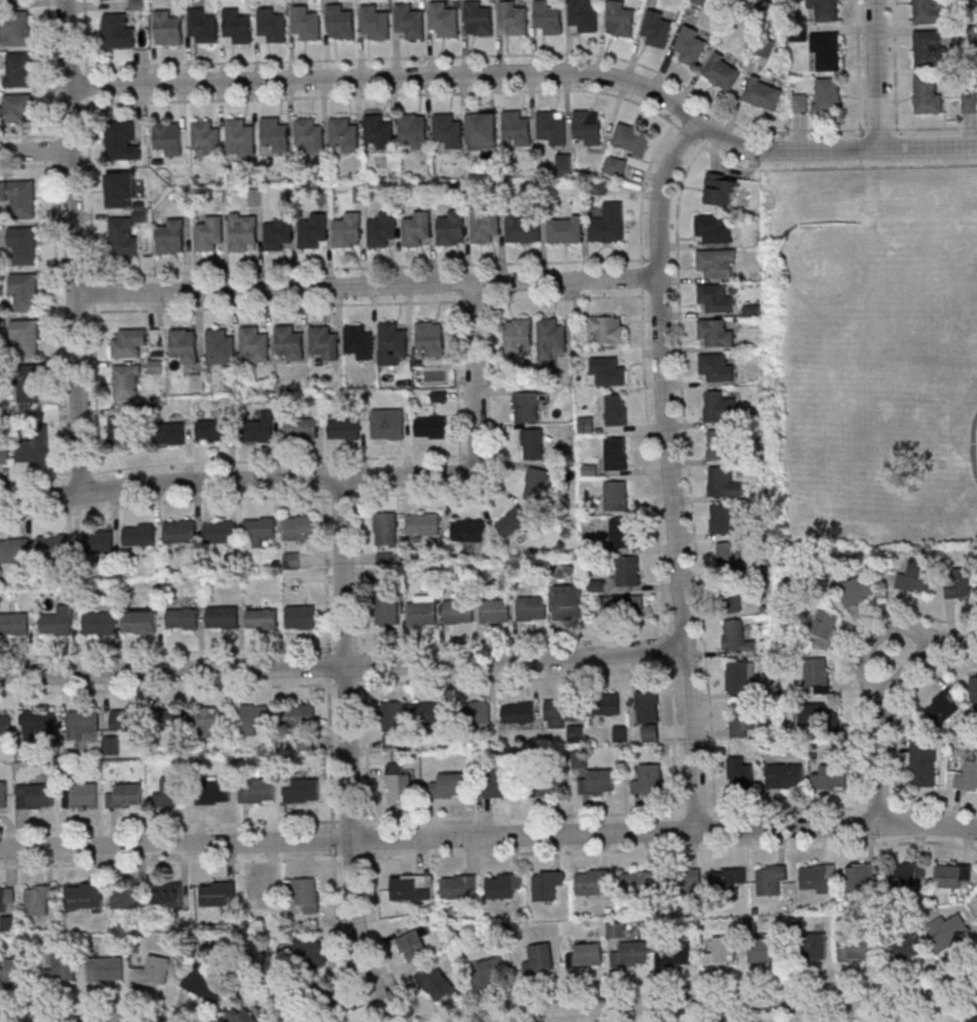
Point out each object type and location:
building: (7, 0)
building: (105, 0)
building: (827, 10)
building: (927, 11)
building: (583, 16)
building: (478, 18)
building: (513, 18)
building: (548, 18)
building: (620, 19)
building: (410, 20)
building: (444, 20)
building: (340, 22)
building: (375, 22)
building: (307, 25)
building: (202, 27)
building: (237, 27)
building: (271, 27)
building: (14, 29)
building: (167, 30)
building: (656, 31)
building: (118, 32)
building: (689, 46)
building: (827, 49)
building: (930, 49)
road: (487, 55)
road: (894, 64)
road: (859, 67)
building: (17, 71)
building: (722, 72)
road: (534, 74)
road: (878, 74)
building: (763, 93)
building: (928, 93)
building: (827, 95)
building: (969, 102)
building: (799, 103)
building: (16, 109)
building: (553, 126)
building: (588, 126)
building: (516, 128)
road: (933, 128)
building: (482, 130)
building: (414, 131)
building: (447, 132)
building: (378, 133)
building: (275, 136)
building: (309, 136)
building: (344, 136)
building: (168, 138)
building: (631, 138)
building: (205, 139)
building: (240, 139)
building: (121, 142)
road: (37, 151)
building: (564, 161)
building: (121, 190)
building: (721, 191)
building: (19, 198)
building: (485, 224)
building: (522, 227)
building: (382, 228)
building: (417, 228)
building: (451, 229)
building: (565, 230)
building: (606, 230)
building: (712, 230)
building: (313, 232)
building: (347, 233)
building: (243, 234)
building: (278, 234)
building: (209, 235)
building: (122, 236)
building: (171, 237)
road: (91, 239)
road: (77, 245)
building: (23, 246)
road: (55, 246)
park: (835, 275)
road: (371, 284)
building: (24, 293)
building: (716, 298)
road: (367, 303)
building: (607, 328)
building: (715, 333)
building: (518, 335)
building: (431, 337)
building: (551, 337)
building: (26, 339)
building: (359, 341)
building: (129, 343)
building: (324, 343)
building: (392, 343)
building: (185, 344)
building: (289, 344)
building: (254, 346)
building: (220, 347)
building: (156, 366)
building: (716, 367)
building: (608, 370)
building: (126, 382)
building: (27, 383)
road: (457, 387)
building: (526, 407)
building: (719, 407)
building: (616, 409)
building: (388, 423)
building: (586, 424)
building: (430, 427)
building: (260, 428)
building: (300, 428)
building: (344, 429)
building: (122, 430)
building: (213, 430)
building: (171, 433)
building: (533, 444)
building: (717, 444)
road: (973, 444)
building: (34, 449)
building: (4, 452)
building: (616, 454)
road: (474, 455)
road: (280, 458)
road: (671, 469)
road: (81, 475)
road: (332, 477)
road: (34, 478)
building: (724, 482)
road: (98, 484)
building: (537, 484)
building: (616, 495)
building: (723, 519)
building: (512, 522)
building: (423, 526)
building: (297, 528)
building: (385, 529)
building: (258, 530)
building: (469, 531)
building: (179, 532)
building: (220, 532)
building: (621, 532)
building: (138, 536)
building: (97, 543)
building: (52, 548)
building: (14, 551)
building: (728, 556)
building: (292, 560)
building: (628, 570)
building: (916, 578)
building: (960, 582)
building: (857, 591)
building: (734, 600)
building: (568, 602)
building: (624, 605)
building: (387, 607)
building: (531, 609)
building: (458, 611)
building: (495, 611)
building: (421, 613)
building: (222, 616)
building: (300, 616)
building: (261, 617)
building: (182, 618)
building: (57, 622)
building: (141, 622)
building: (13, 624)
building: (98, 624)
building: (824, 628)
building: (736, 636)
road: (871, 640)
road: (343, 665)
building: (816, 675)
building: (740, 676)
building: (974, 687)
road: (888, 702)
building: (605, 704)
building: (648, 706)
building: (943, 707)
building: (560, 712)
building: (478, 713)
building: (517, 713)
building: (431, 714)
building: (817, 715)
building: (298, 716)
building: (172, 718)
building: (393, 718)
building: (742, 718)
building: (213, 719)
building: (255, 719)
building: (127, 721)
building: (40, 723)
building: (5, 724)
building: (83, 724)
building: (575, 734)
building: (651, 734)
road: (349, 756)
building: (923, 762)
building: (740, 773)
building: (831, 775)
building: (784, 776)
building: (967, 776)
building: (648, 779)
building: (598, 781)
building: (498, 783)
building: (398, 784)
building: (546, 785)
building: (448, 786)
building: (256, 790)
building: (302, 790)
building: (213, 791)
building: (171, 794)
building: (3, 796)
building: (35, 796)
building: (81, 796)
building: (125, 796)
road: (488, 833)
building: (908, 874)
building: (952, 876)
building: (818, 878)
building: (729, 879)
building: (861, 879)
building: (685, 880)
building: (771, 880)
building: (592, 881)
building: (638, 882)
building: (547, 884)
building: (503, 885)
building: (458, 886)
building: (411, 887)
building: (217, 893)
building: (306, 894)
building: (88, 895)
building: (260, 895)
building: (169, 896)
building: (128, 897)
building: (6, 898)
building: (40, 899)
building: (949, 933)
building: (414, 944)
building: (815, 946)
building: (906, 947)
building: (856, 948)
building: (722, 952)
building: (766, 952)
building: (630, 954)
building: (677, 954)
building: (308, 955)
building: (586, 955)
building: (540, 959)
building: (62, 966)
building: (105, 970)
building: (13, 971)
building: (489, 971)
building: (154, 972)
building: (436, 982)
building: (205, 985)
building: (334, 997)
road: (734, 1003)
building: (242, 1017)
road: (73, 1020)
building: (973, 1020)

